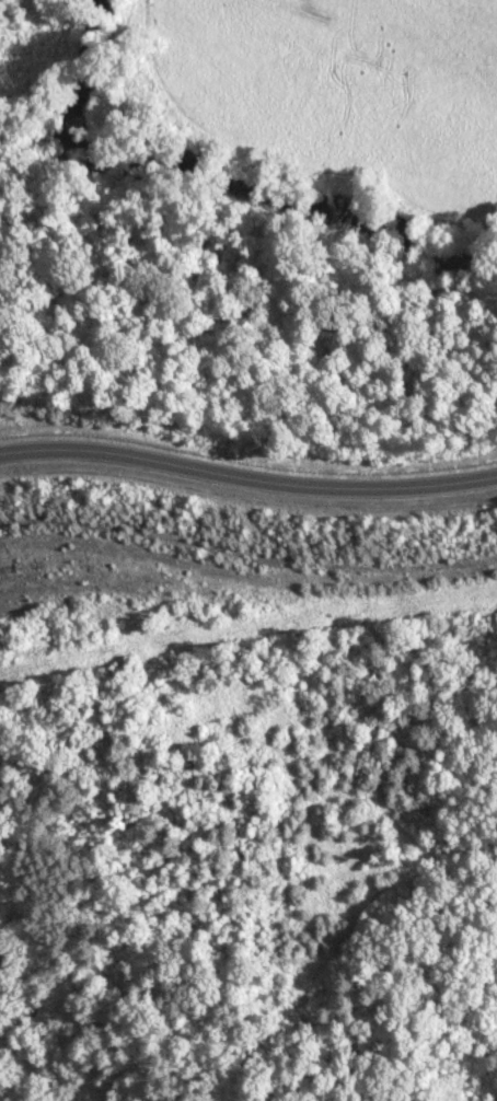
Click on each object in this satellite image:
river: (224, 189)
road: (247, 475)

